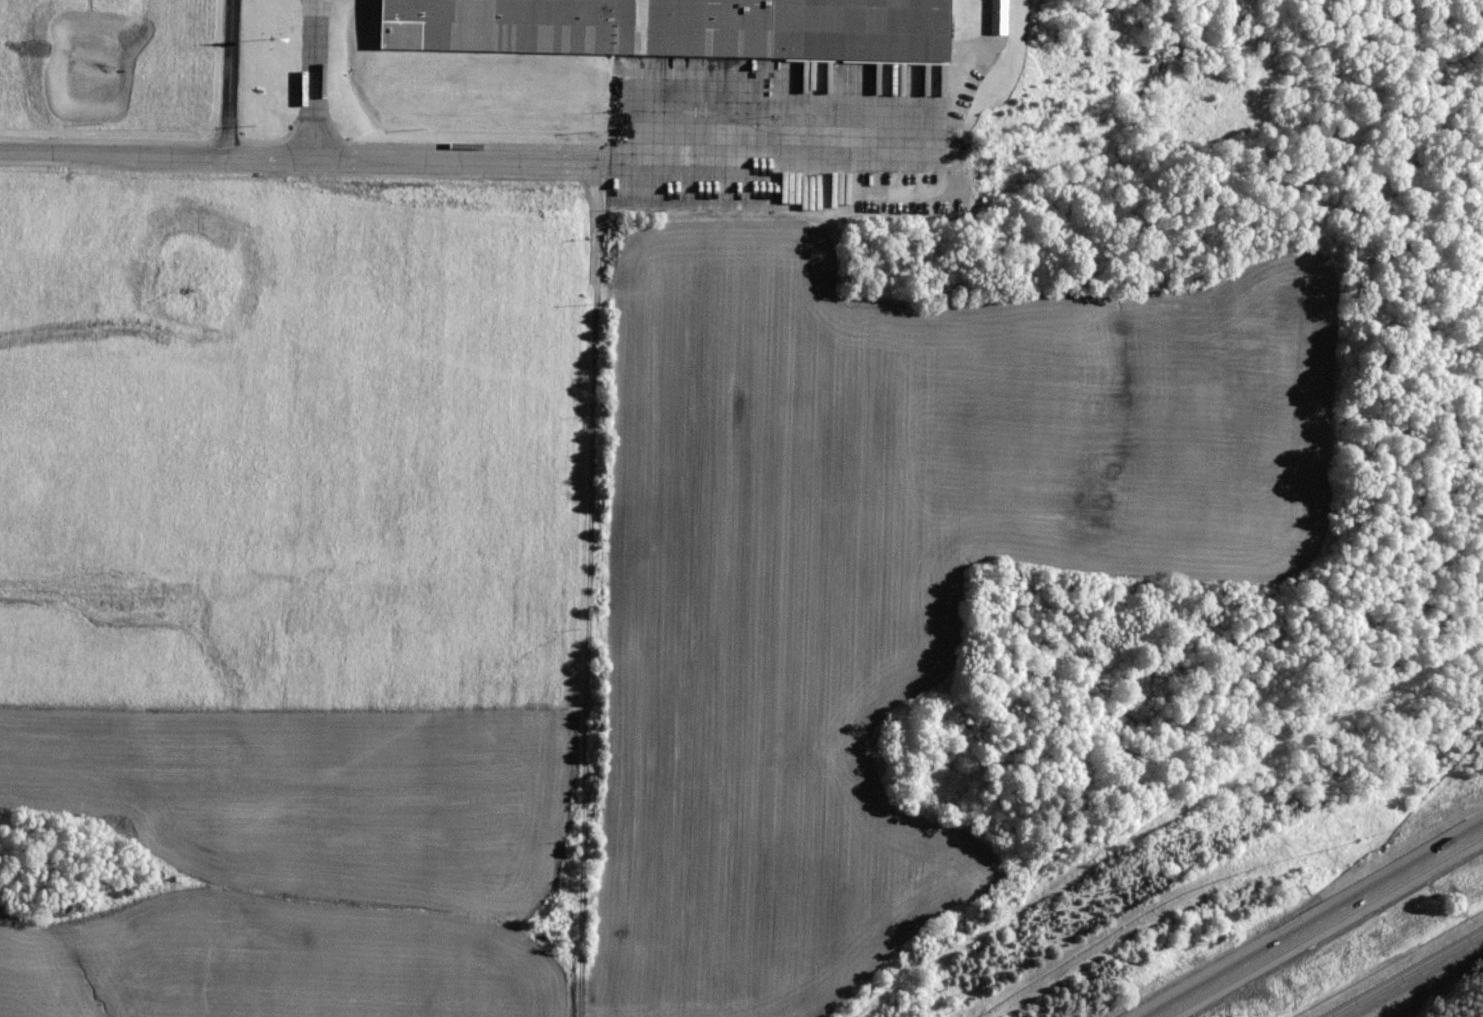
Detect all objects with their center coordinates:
building: (997, 17)
building: (677, 27)
road: (309, 78)
road: (774, 154)
road: (303, 156)
road: (1322, 927)
road: (1414, 979)

